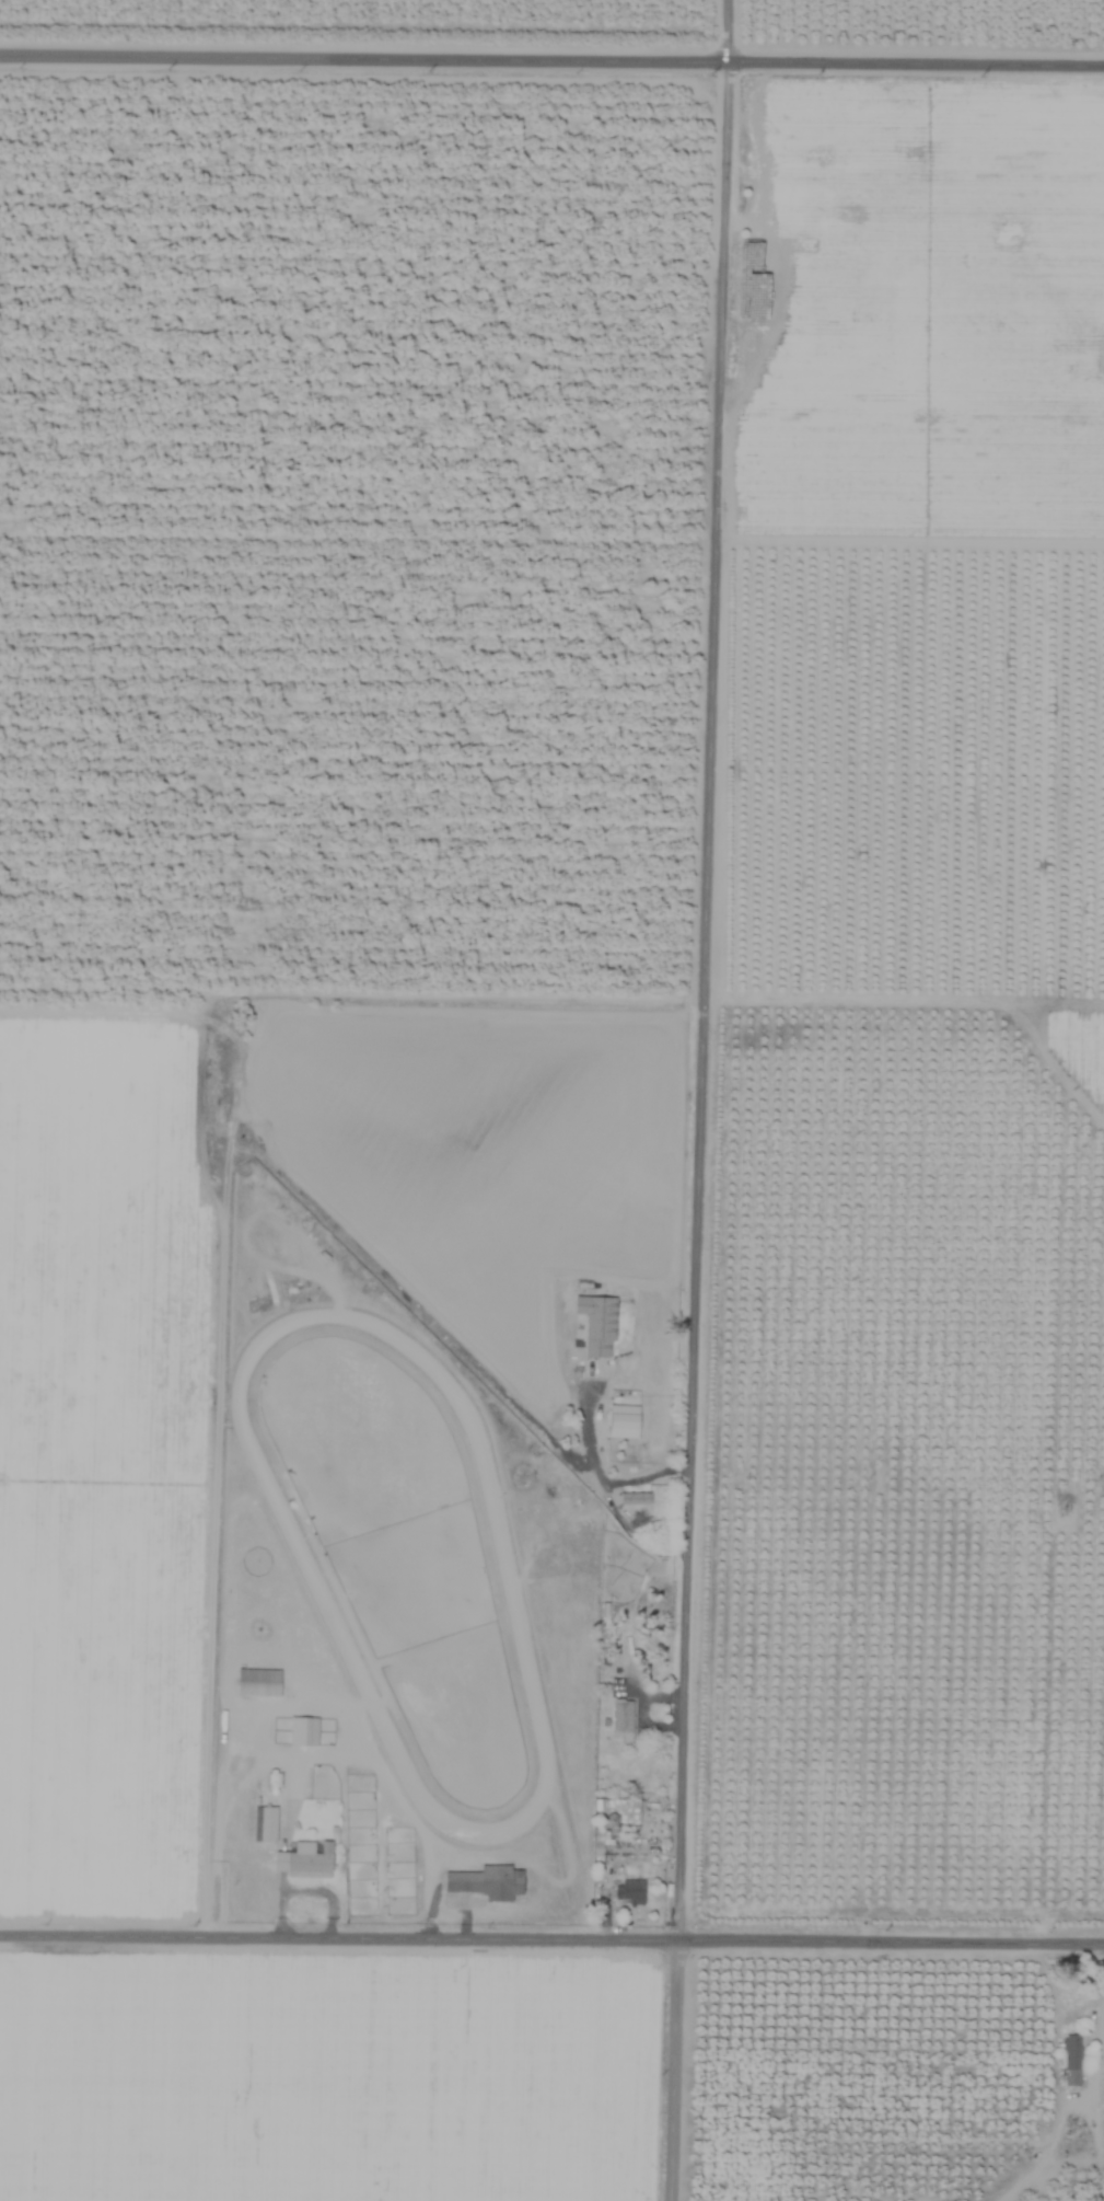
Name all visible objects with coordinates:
road: (551, 57)
crop: (905, 1076)
road: (698, 1100)
building: (596, 1324)
building: (623, 1421)
road: (601, 1475)
building: (634, 1498)
building: (257, 1682)
building: (623, 1718)
building: (302, 1731)
building: (264, 1823)
building: (304, 1860)
building: (487, 1882)
building: (629, 1891)
road: (551, 1940)
road: (1100, 2035)
building: (1071, 2060)

